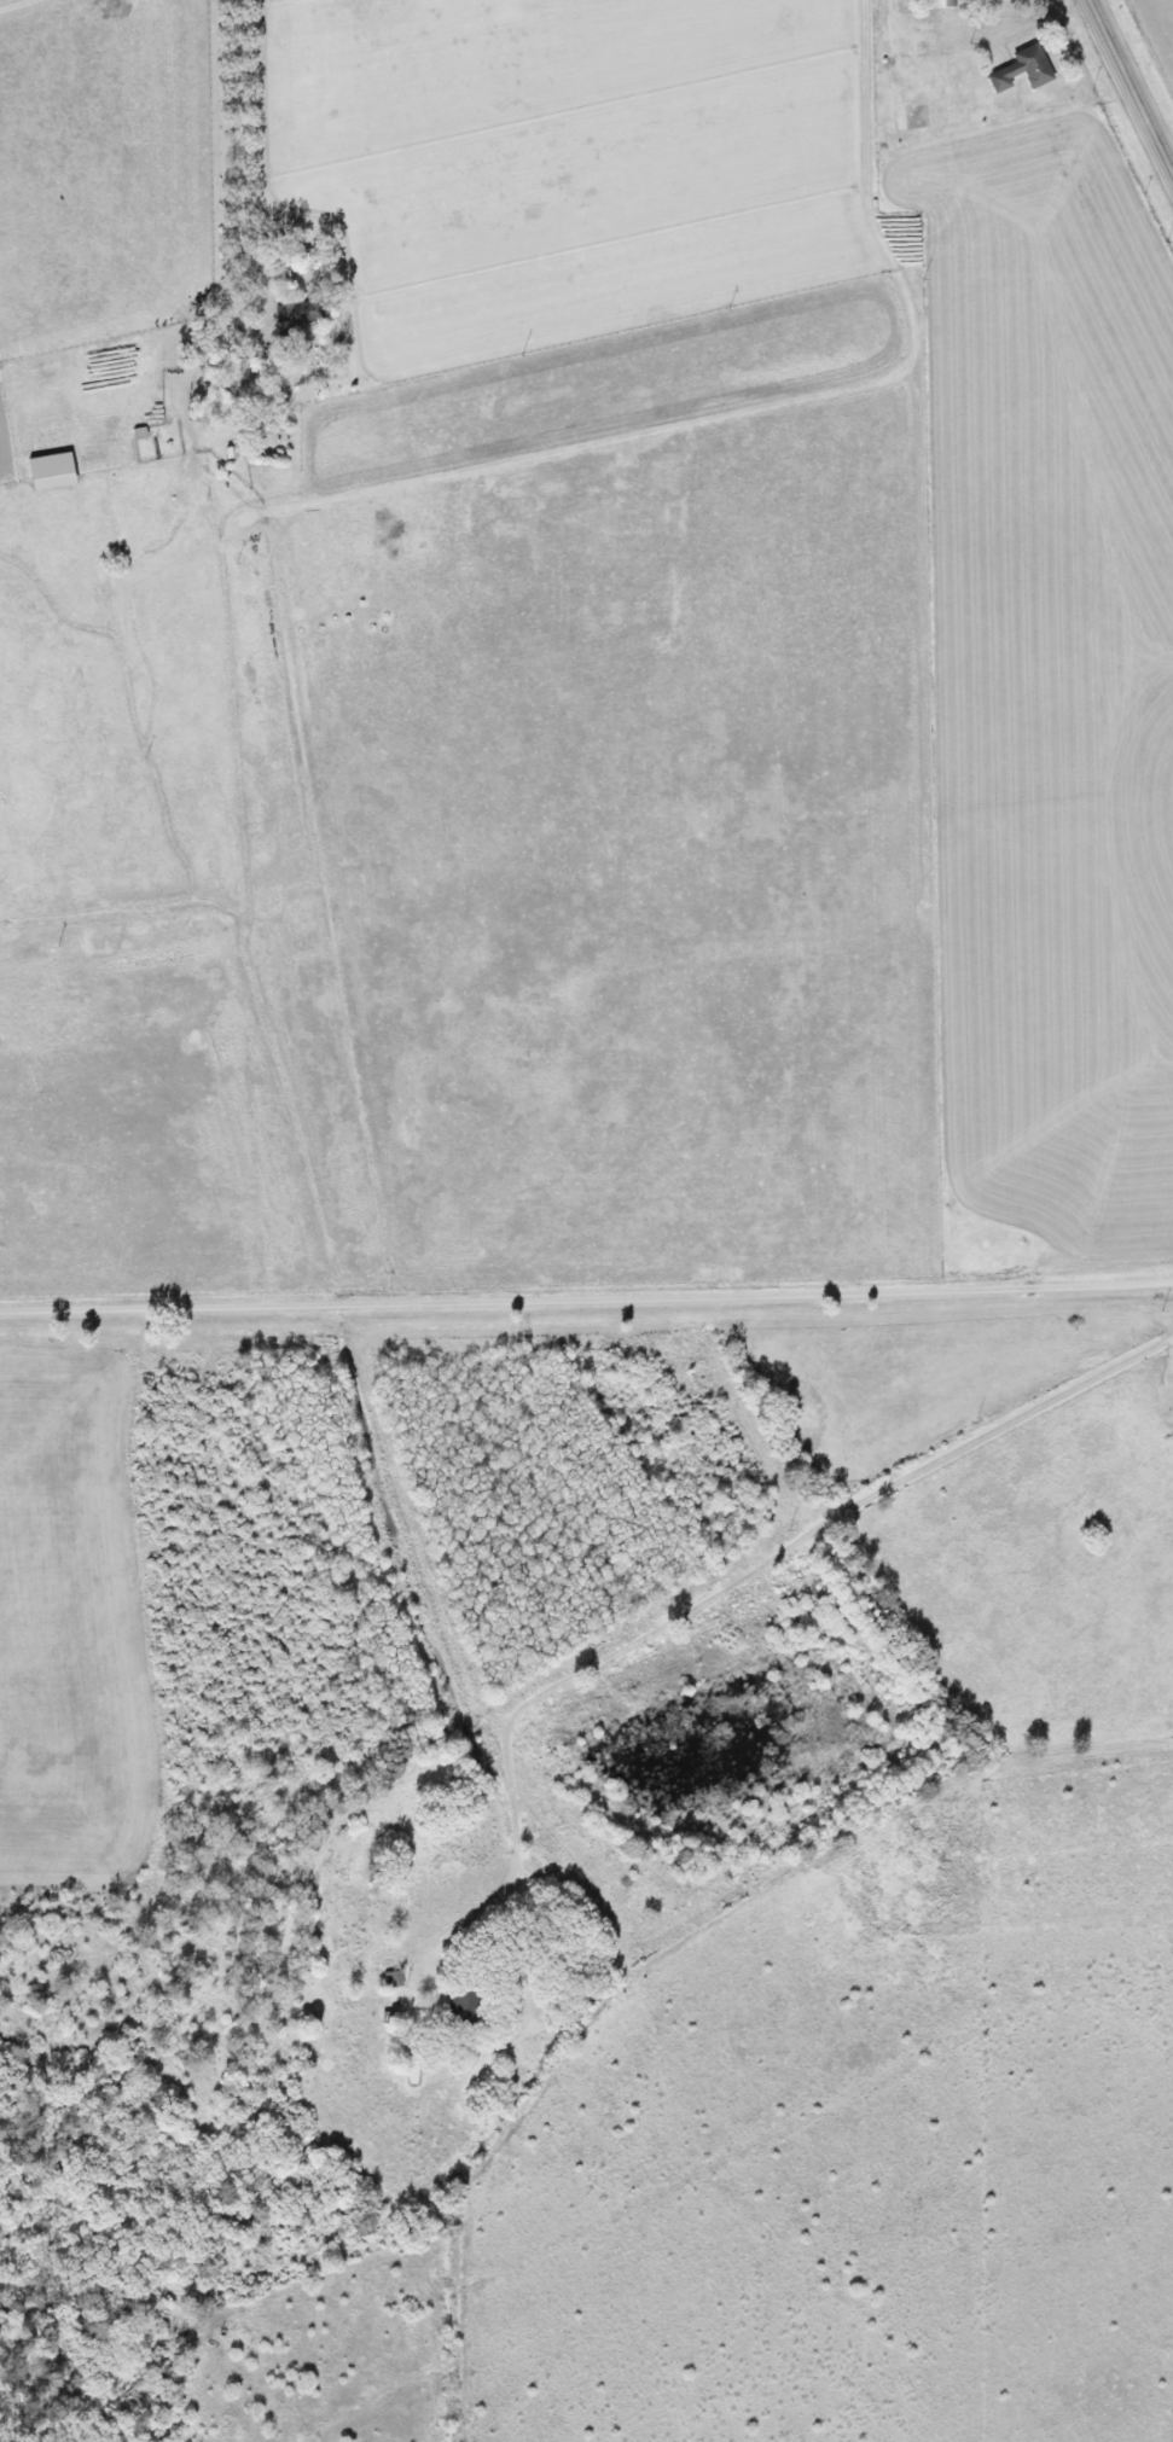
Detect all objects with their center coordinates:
building: (937, 4)
road: (18, 5)
road: (1023, 24)
building: (1018, 70)
road: (1132, 85)
road: (237, 145)
building: (295, 313)
building: (233, 316)
building: (166, 355)
road: (586, 1296)
building: (455, 2006)

